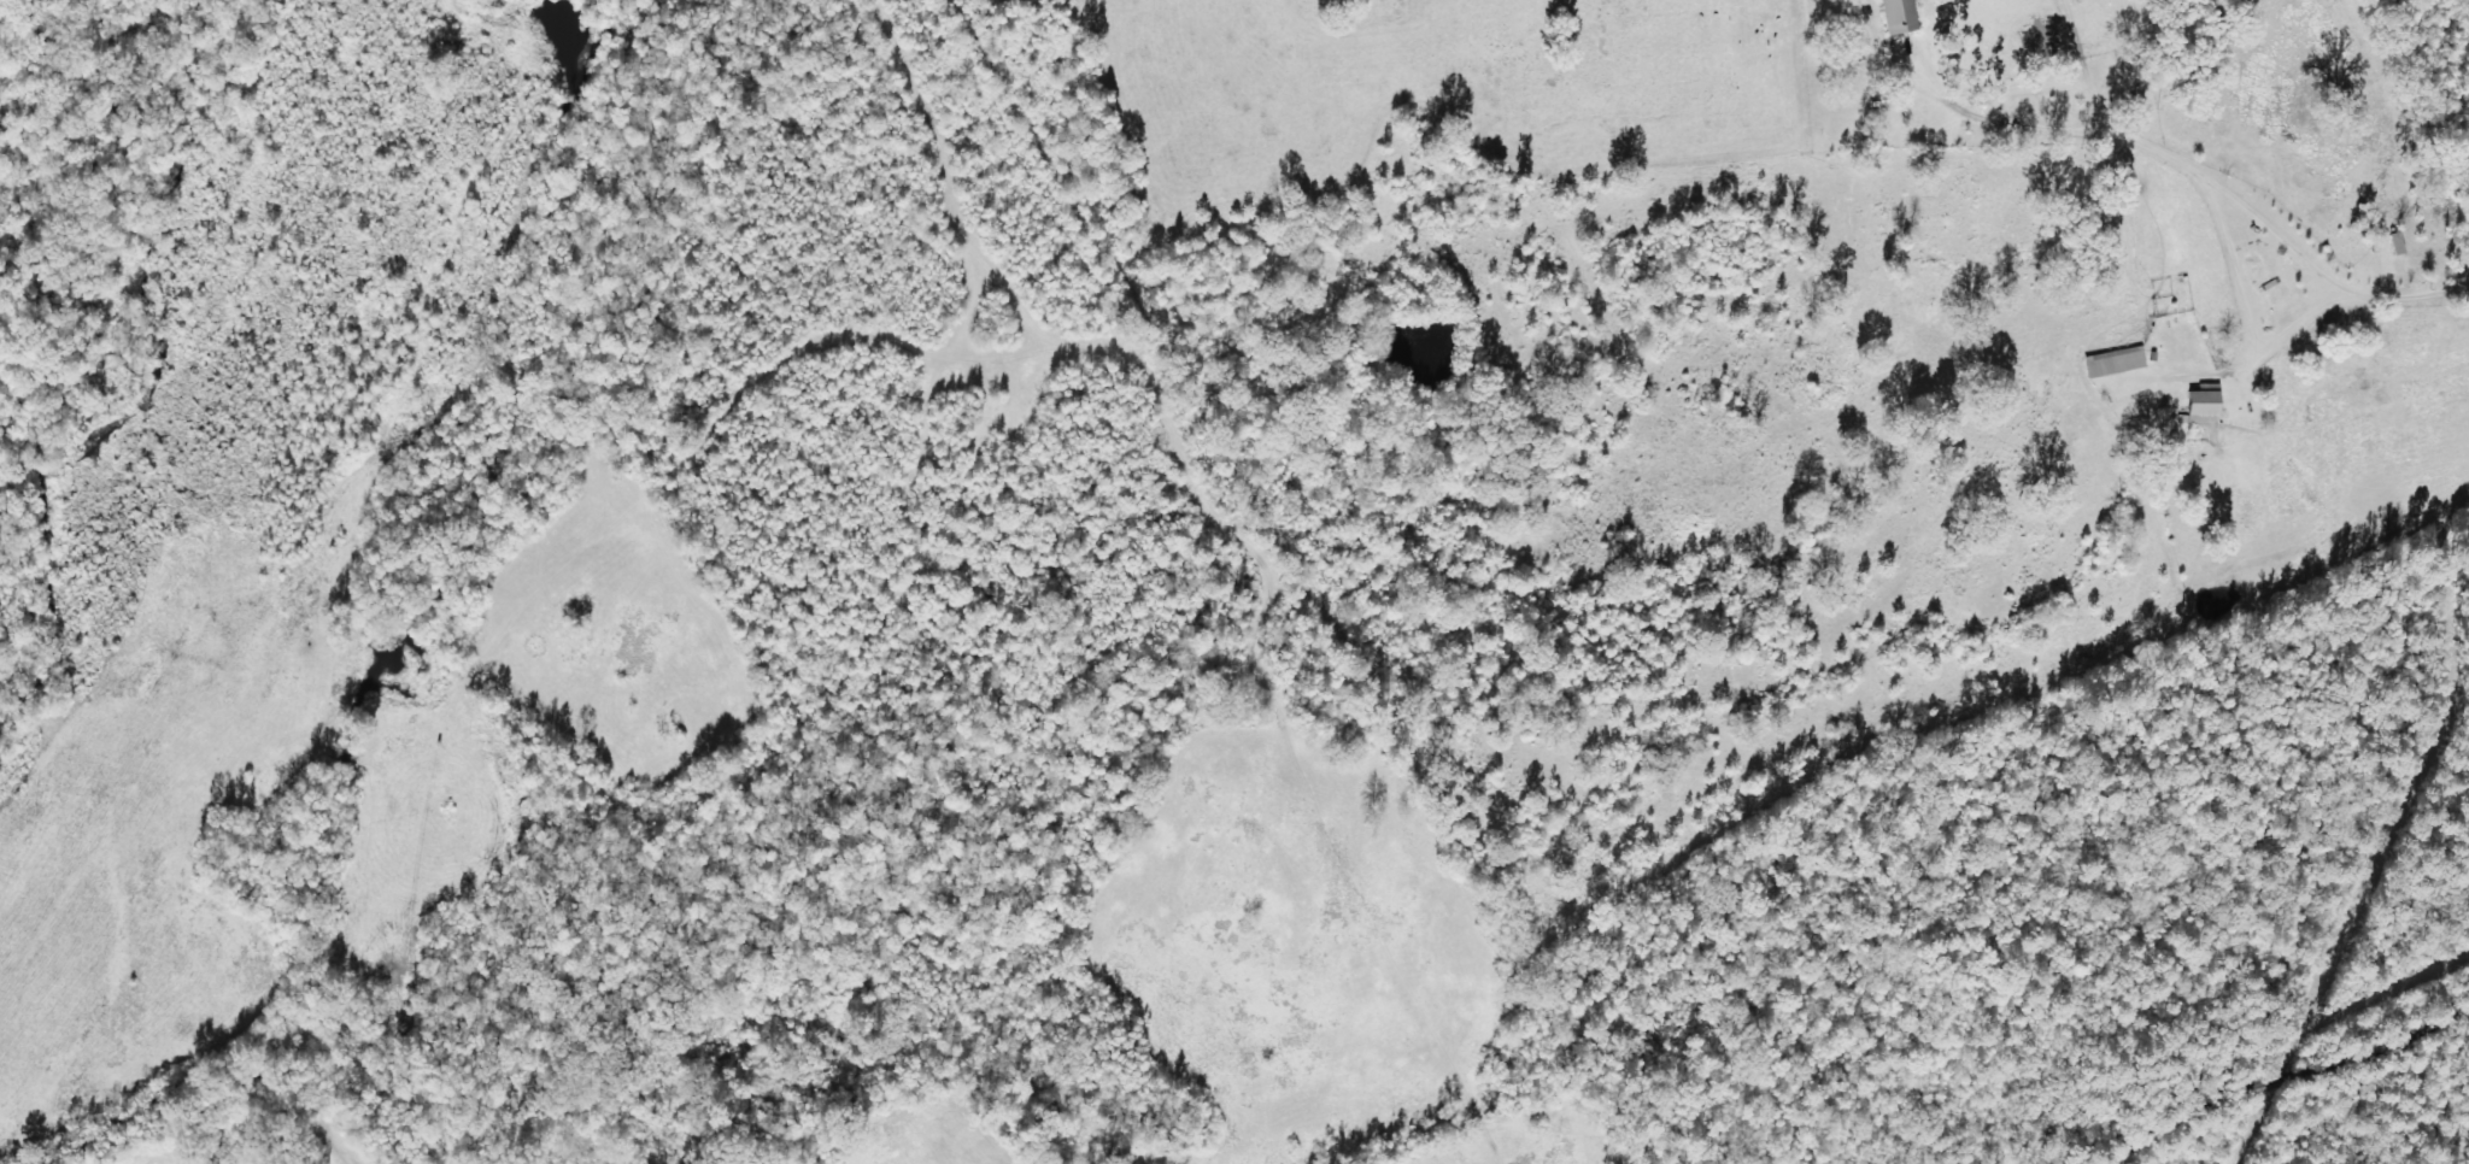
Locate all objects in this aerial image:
building: (1904, 16)
road: (2298, 318)
building: (2119, 364)
building: (2209, 404)
road: (2294, 1072)

